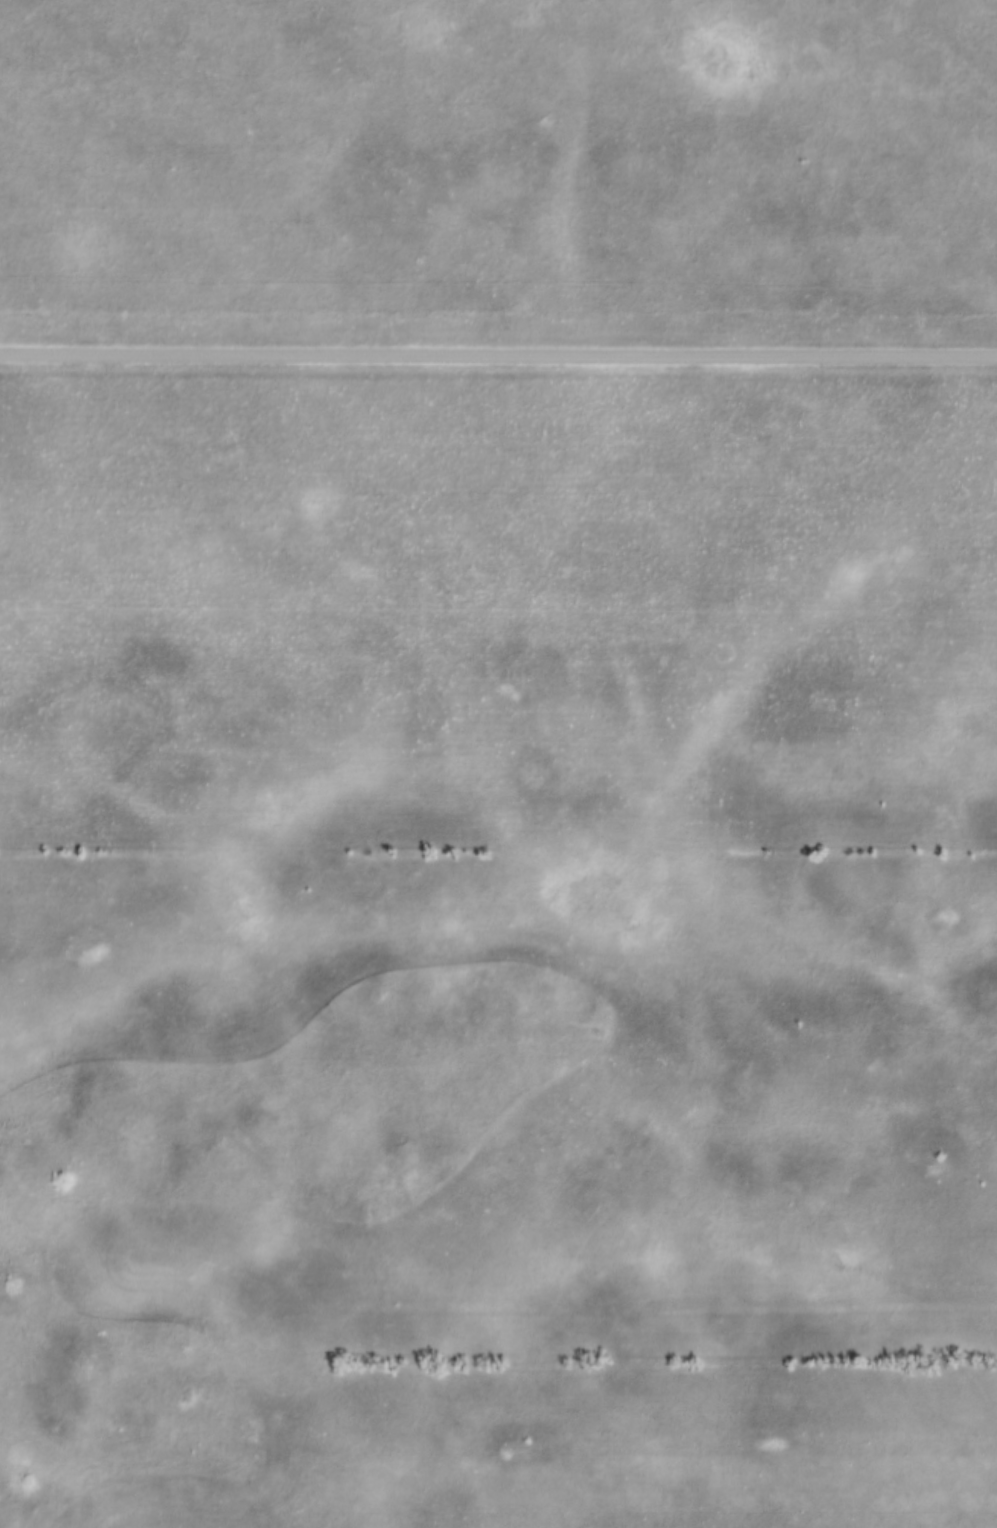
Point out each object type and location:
road: (498, 351)

